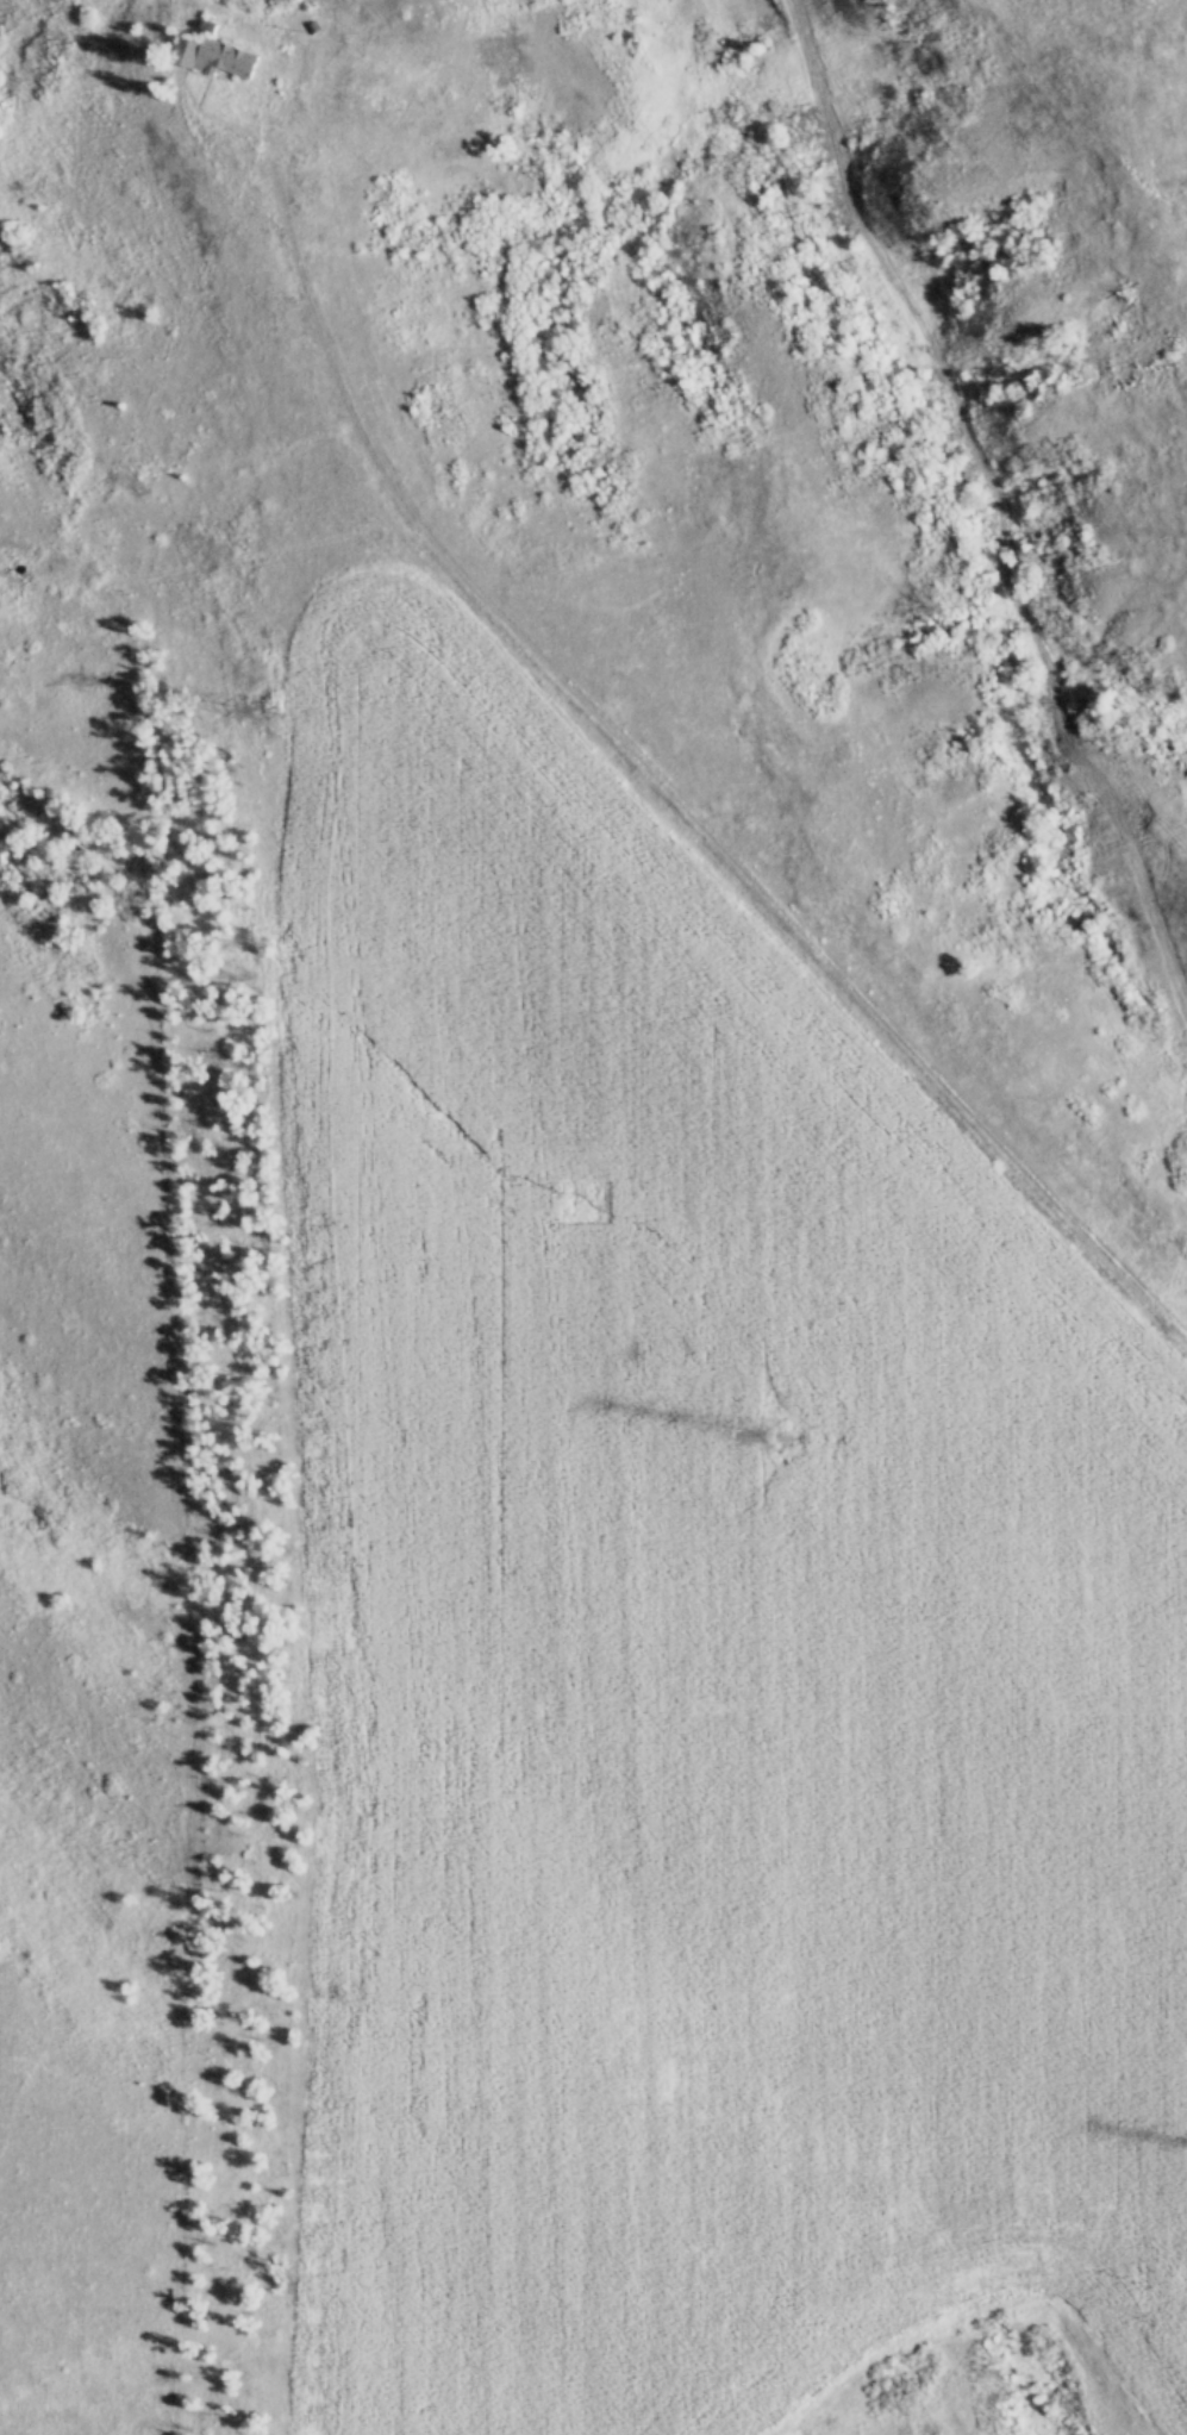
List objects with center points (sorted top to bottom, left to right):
building: (214, 61)
power tower: (264, 714)
road: (635, 762)
power tower: (773, 1437)

